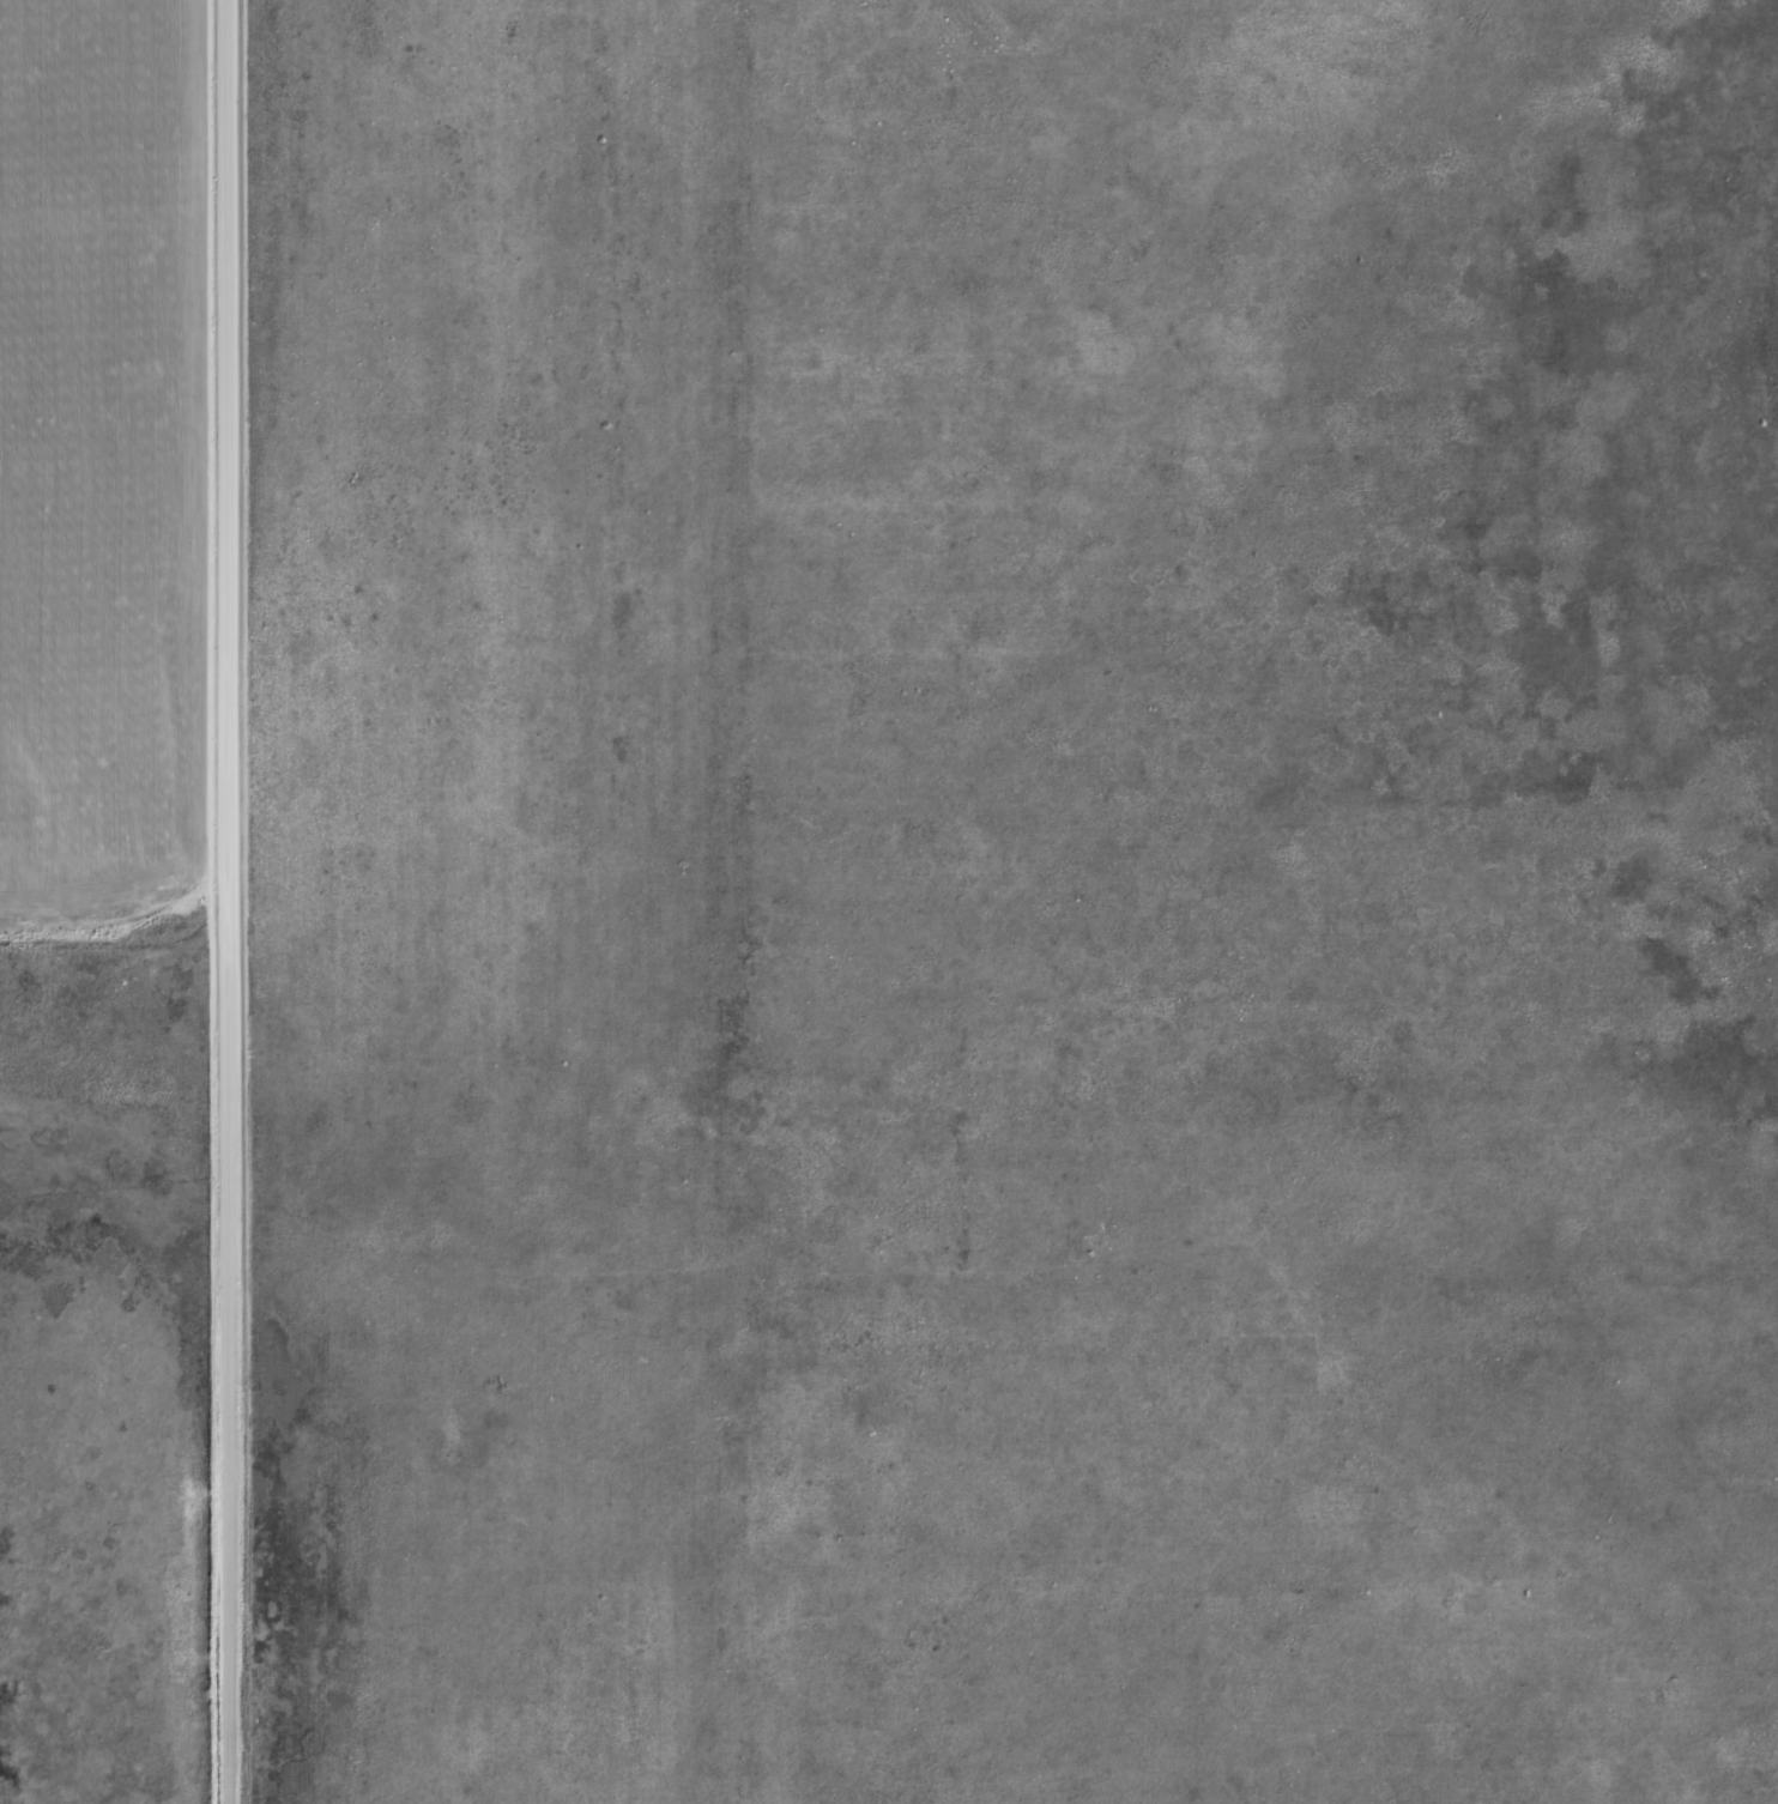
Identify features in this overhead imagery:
road: (201, 902)

